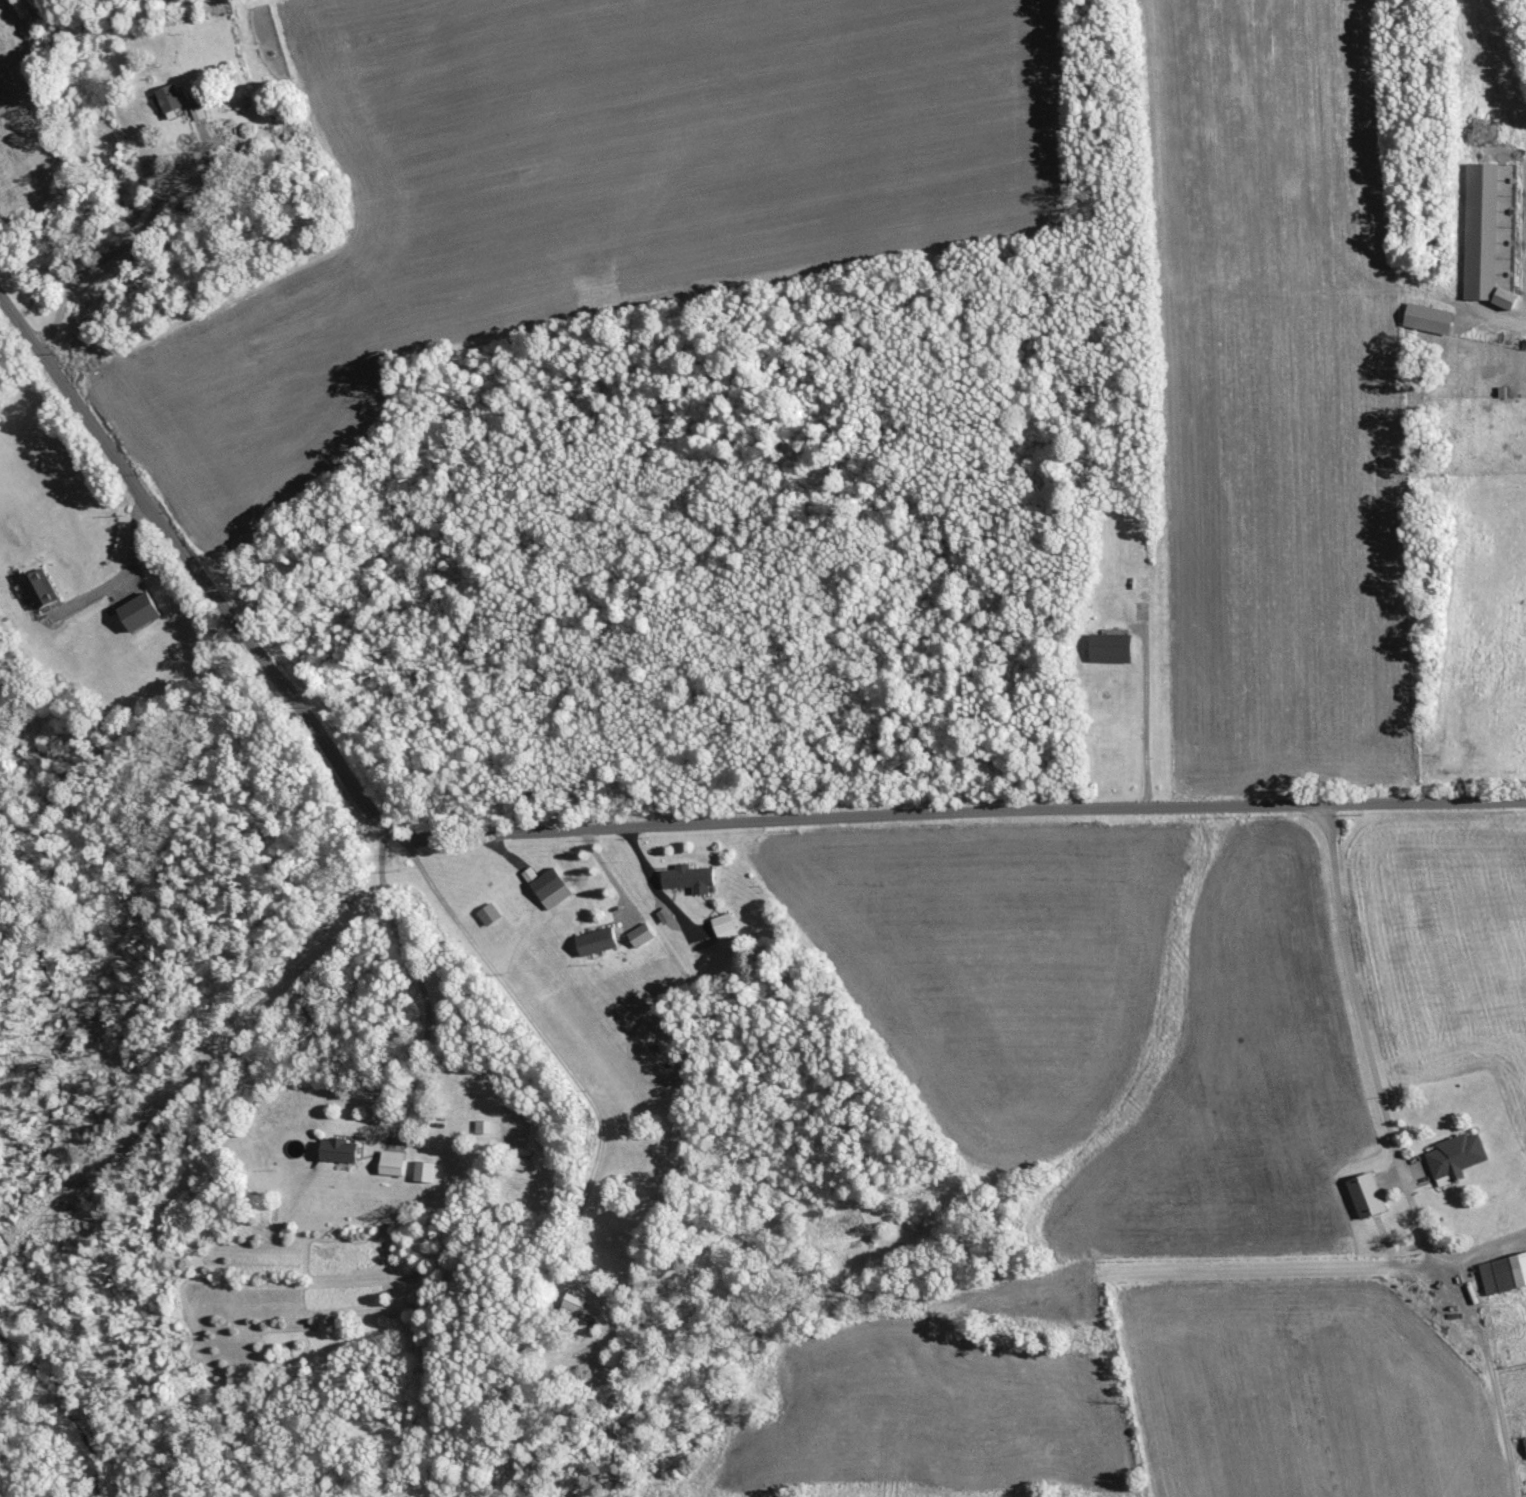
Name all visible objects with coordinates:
building: (167, 100)
building: (196, 112)
building: (1480, 236)
road: (127, 243)
road: (137, 548)
building: (37, 586)
building: (135, 610)
building: (1108, 646)
road: (1147, 720)
road: (626, 827)
building: (687, 877)
road: (612, 879)
building: (545, 885)
road: (657, 885)
building: (487, 913)
building: (722, 925)
building: (638, 934)
building: (594, 940)
road: (418, 981)
road: (561, 1057)
road: (1379, 1085)
building: (480, 1125)
building: (335, 1149)
building: (1453, 1156)
building: (389, 1162)
building: (421, 1170)
building: (1363, 1194)
building: (1503, 1272)
building: (569, 1304)
building: (1524, 1442)

